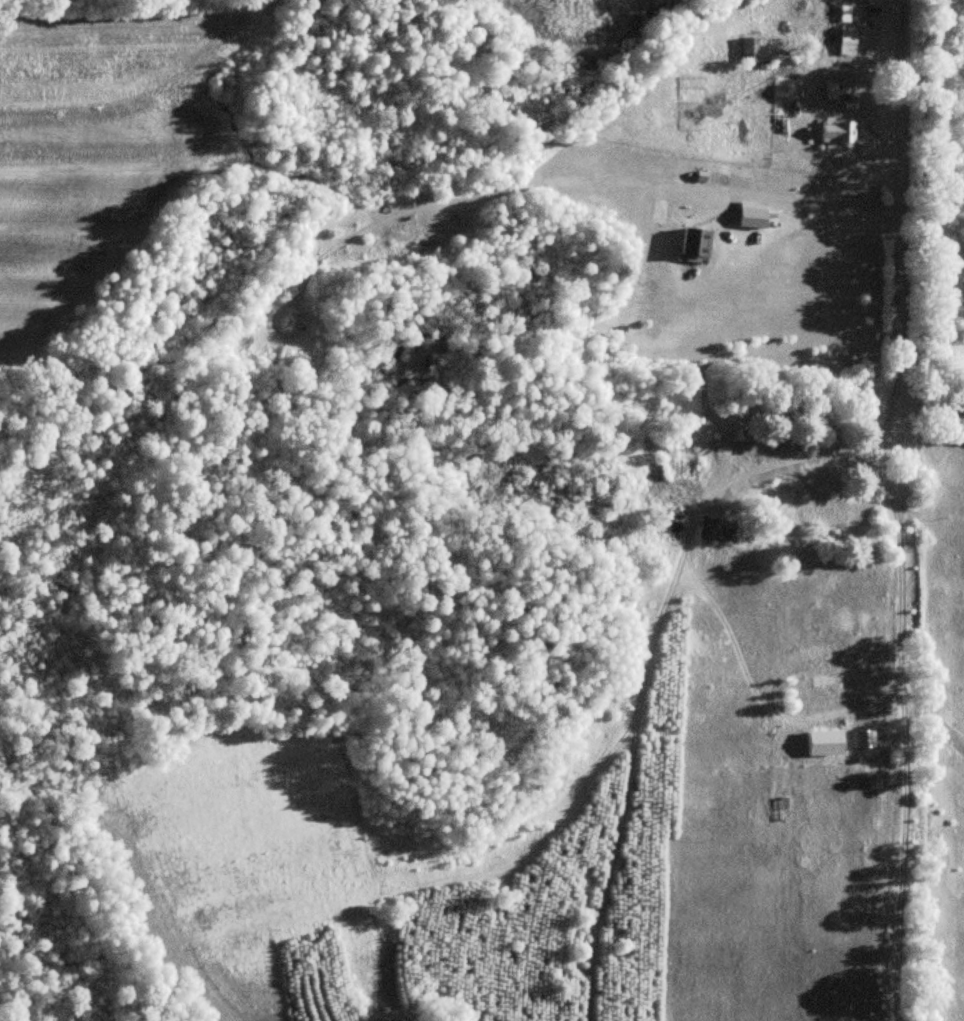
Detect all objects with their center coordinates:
building: (845, 40)
building: (761, 53)
building: (835, 131)
road: (900, 187)
road: (816, 229)
building: (694, 243)
road: (932, 376)
building: (746, 436)
building: (719, 533)
road: (895, 669)
building: (830, 680)
building: (863, 739)
building: (824, 744)

